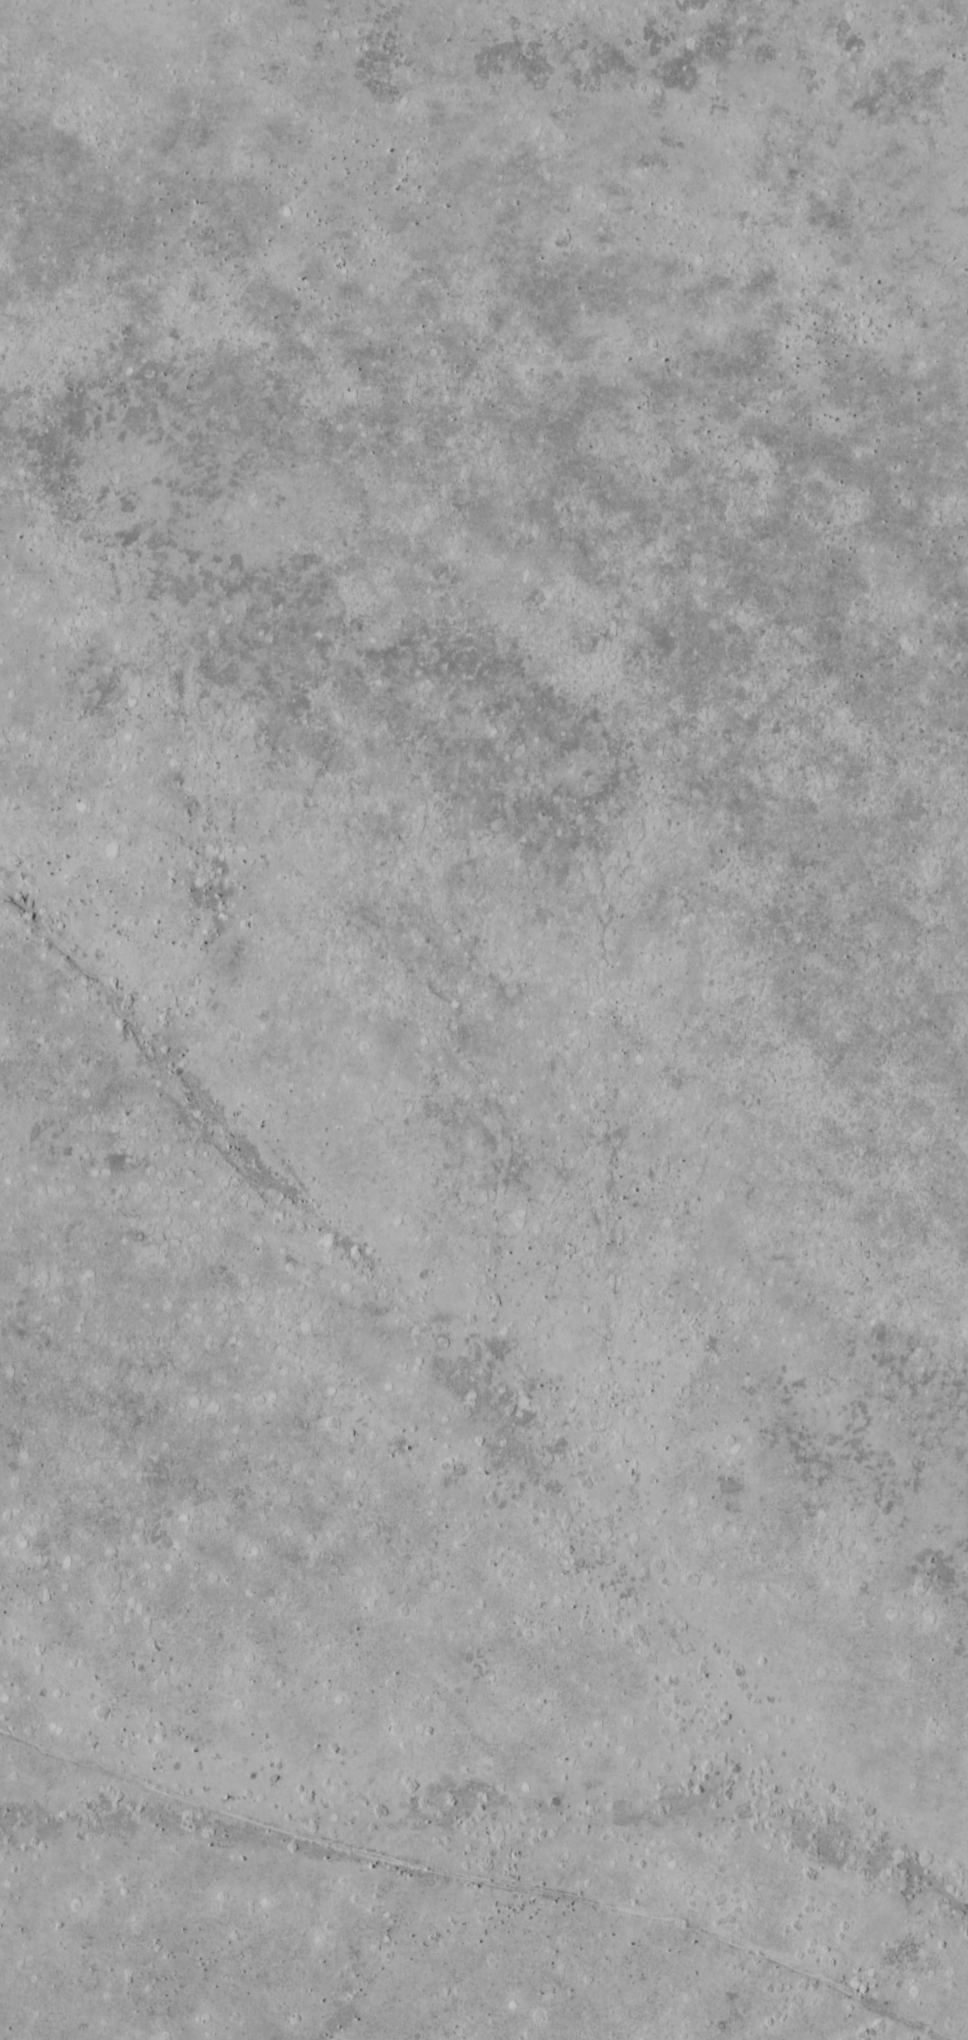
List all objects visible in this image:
road: (214, 1787)

